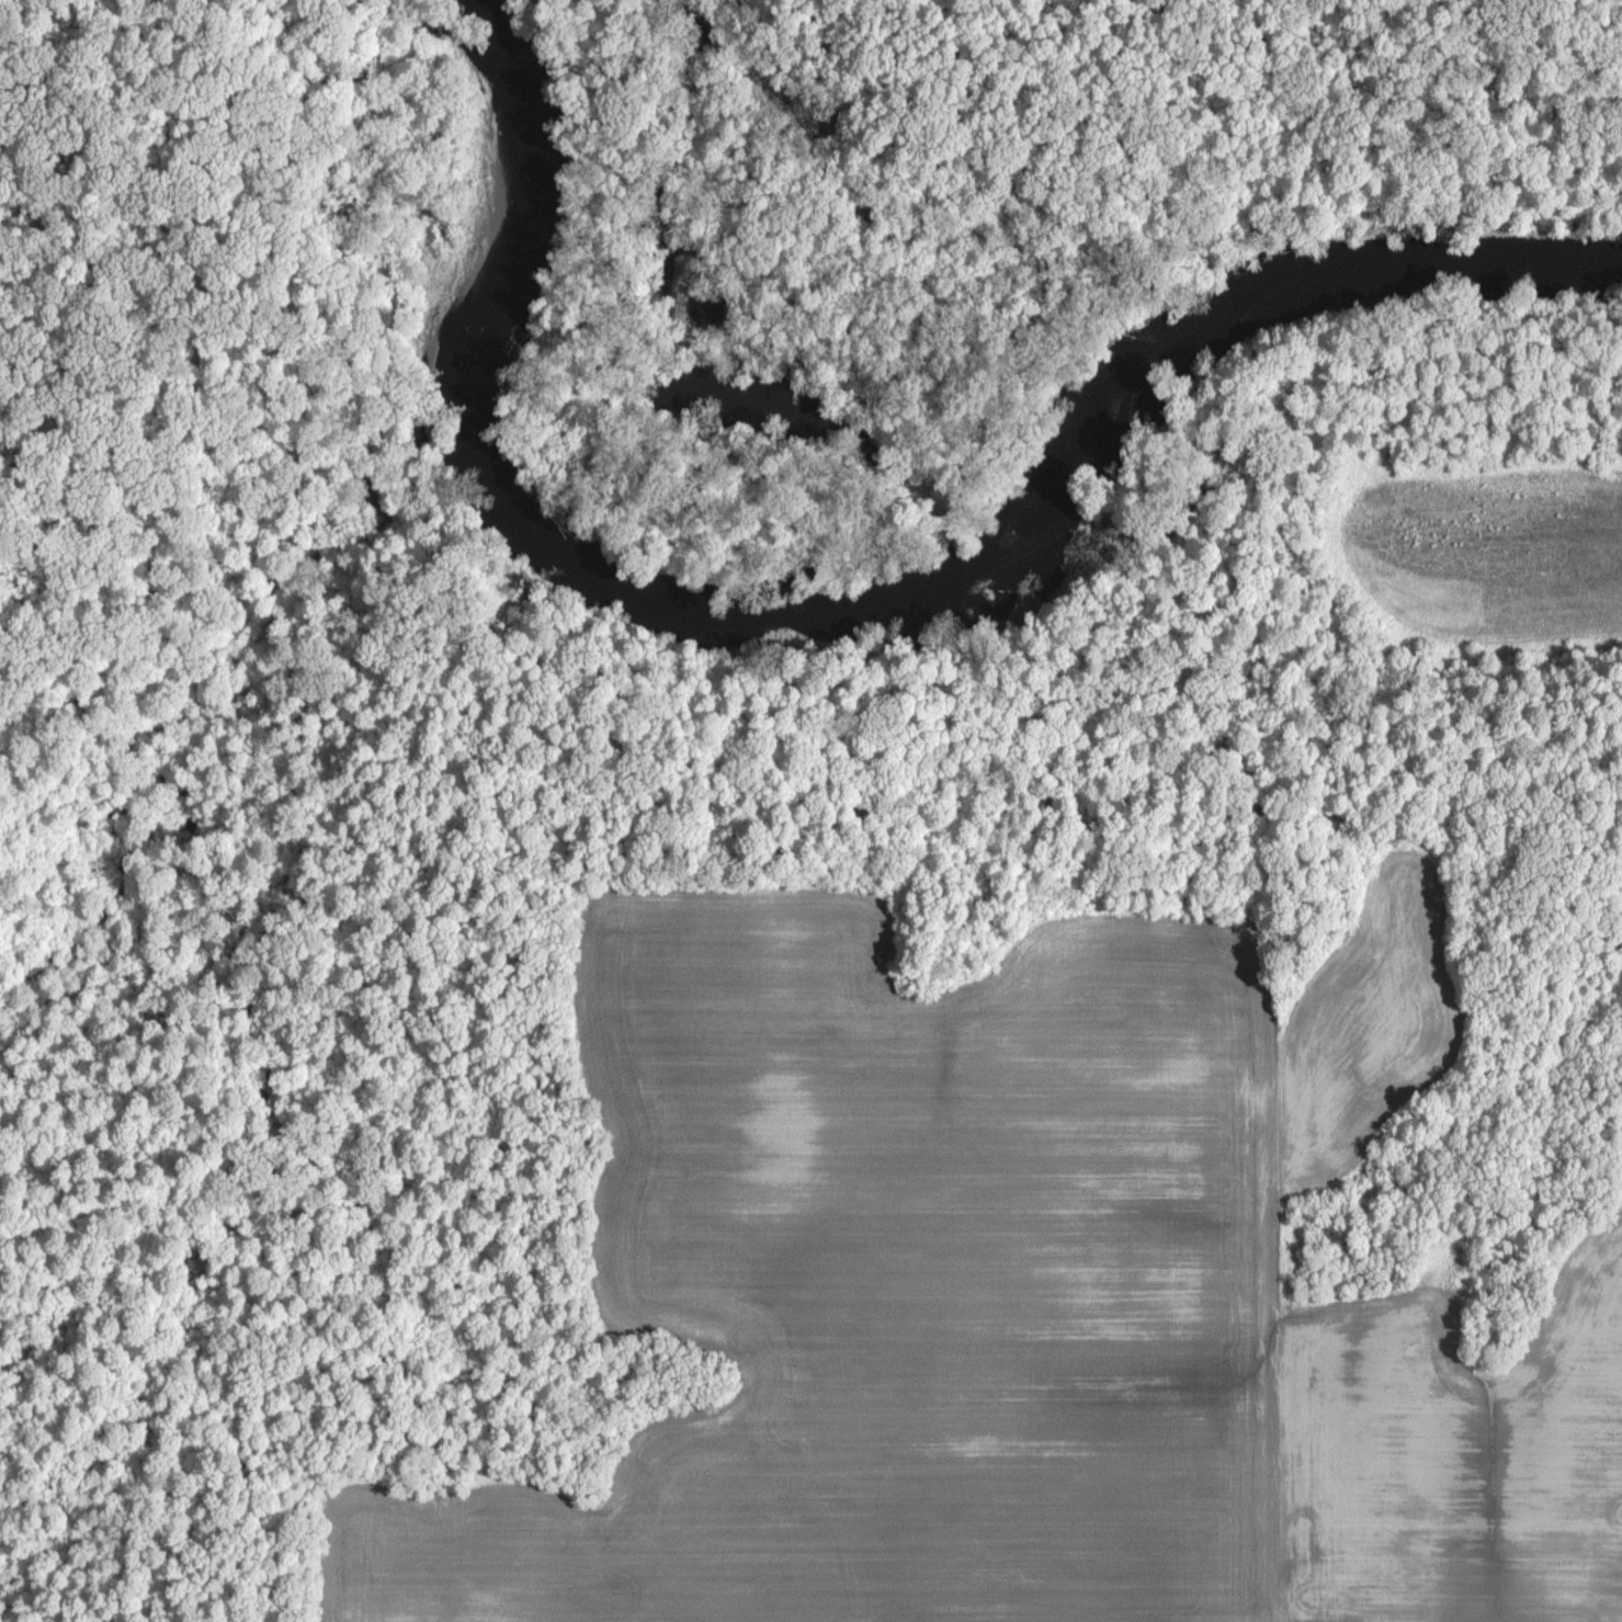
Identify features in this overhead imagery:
river: (854, 623)

